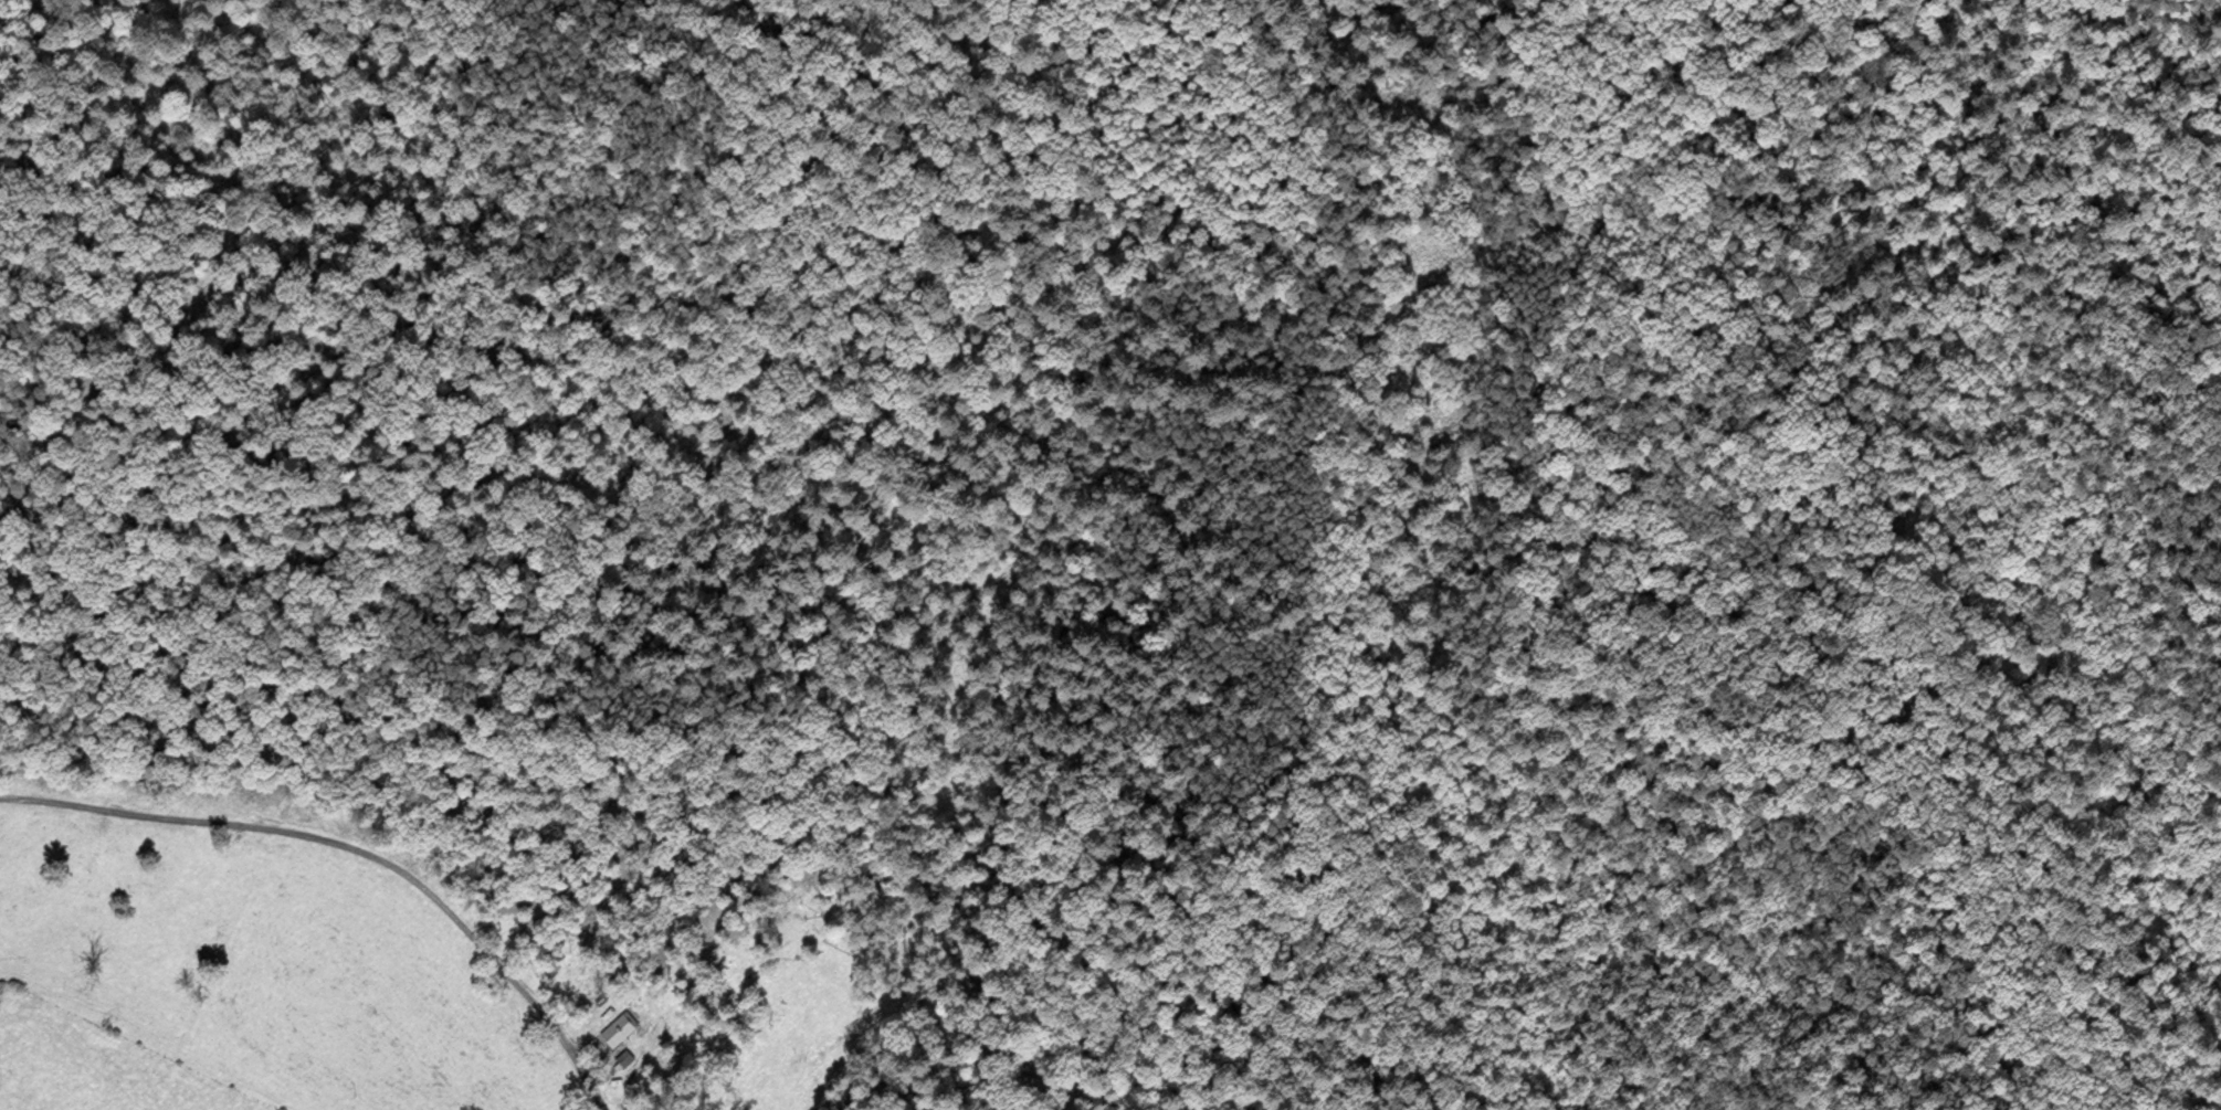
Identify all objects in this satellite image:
road: (358, 850)
building: (620, 1030)
building: (628, 1057)

